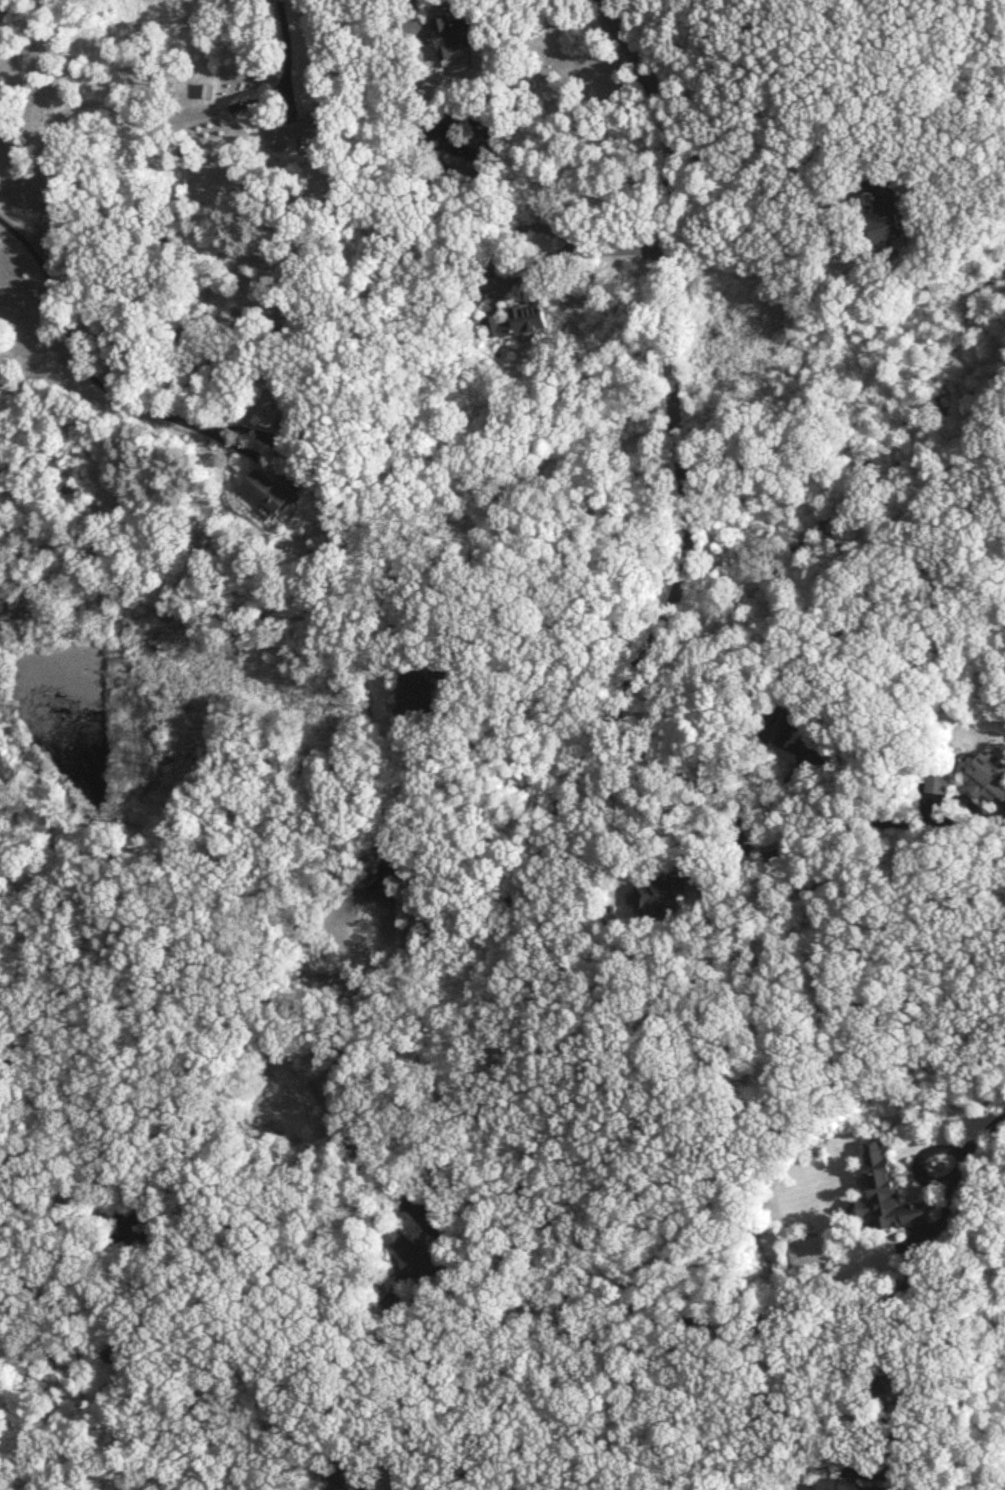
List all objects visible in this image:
building: (453, 36)
road: (287, 47)
road: (88, 100)
road: (767, 189)
building: (884, 222)
road: (558, 233)
building: (515, 323)
building: (295, 325)
road: (96, 381)
building: (270, 489)
building: (414, 692)
road: (521, 702)
road: (610, 713)
building: (782, 729)
building: (987, 780)
building: (937, 783)
road: (783, 786)
road: (760, 855)
building: (659, 897)
road: (754, 909)
road: (984, 1135)
road: (444, 1169)
road: (920, 1171)
building: (884, 1194)
building: (394, 1239)
building: (414, 1258)
road: (818, 1305)
road: (514, 1405)
road: (628, 1428)
road: (800, 1472)
building: (346, 1479)
building: (842, 1485)

